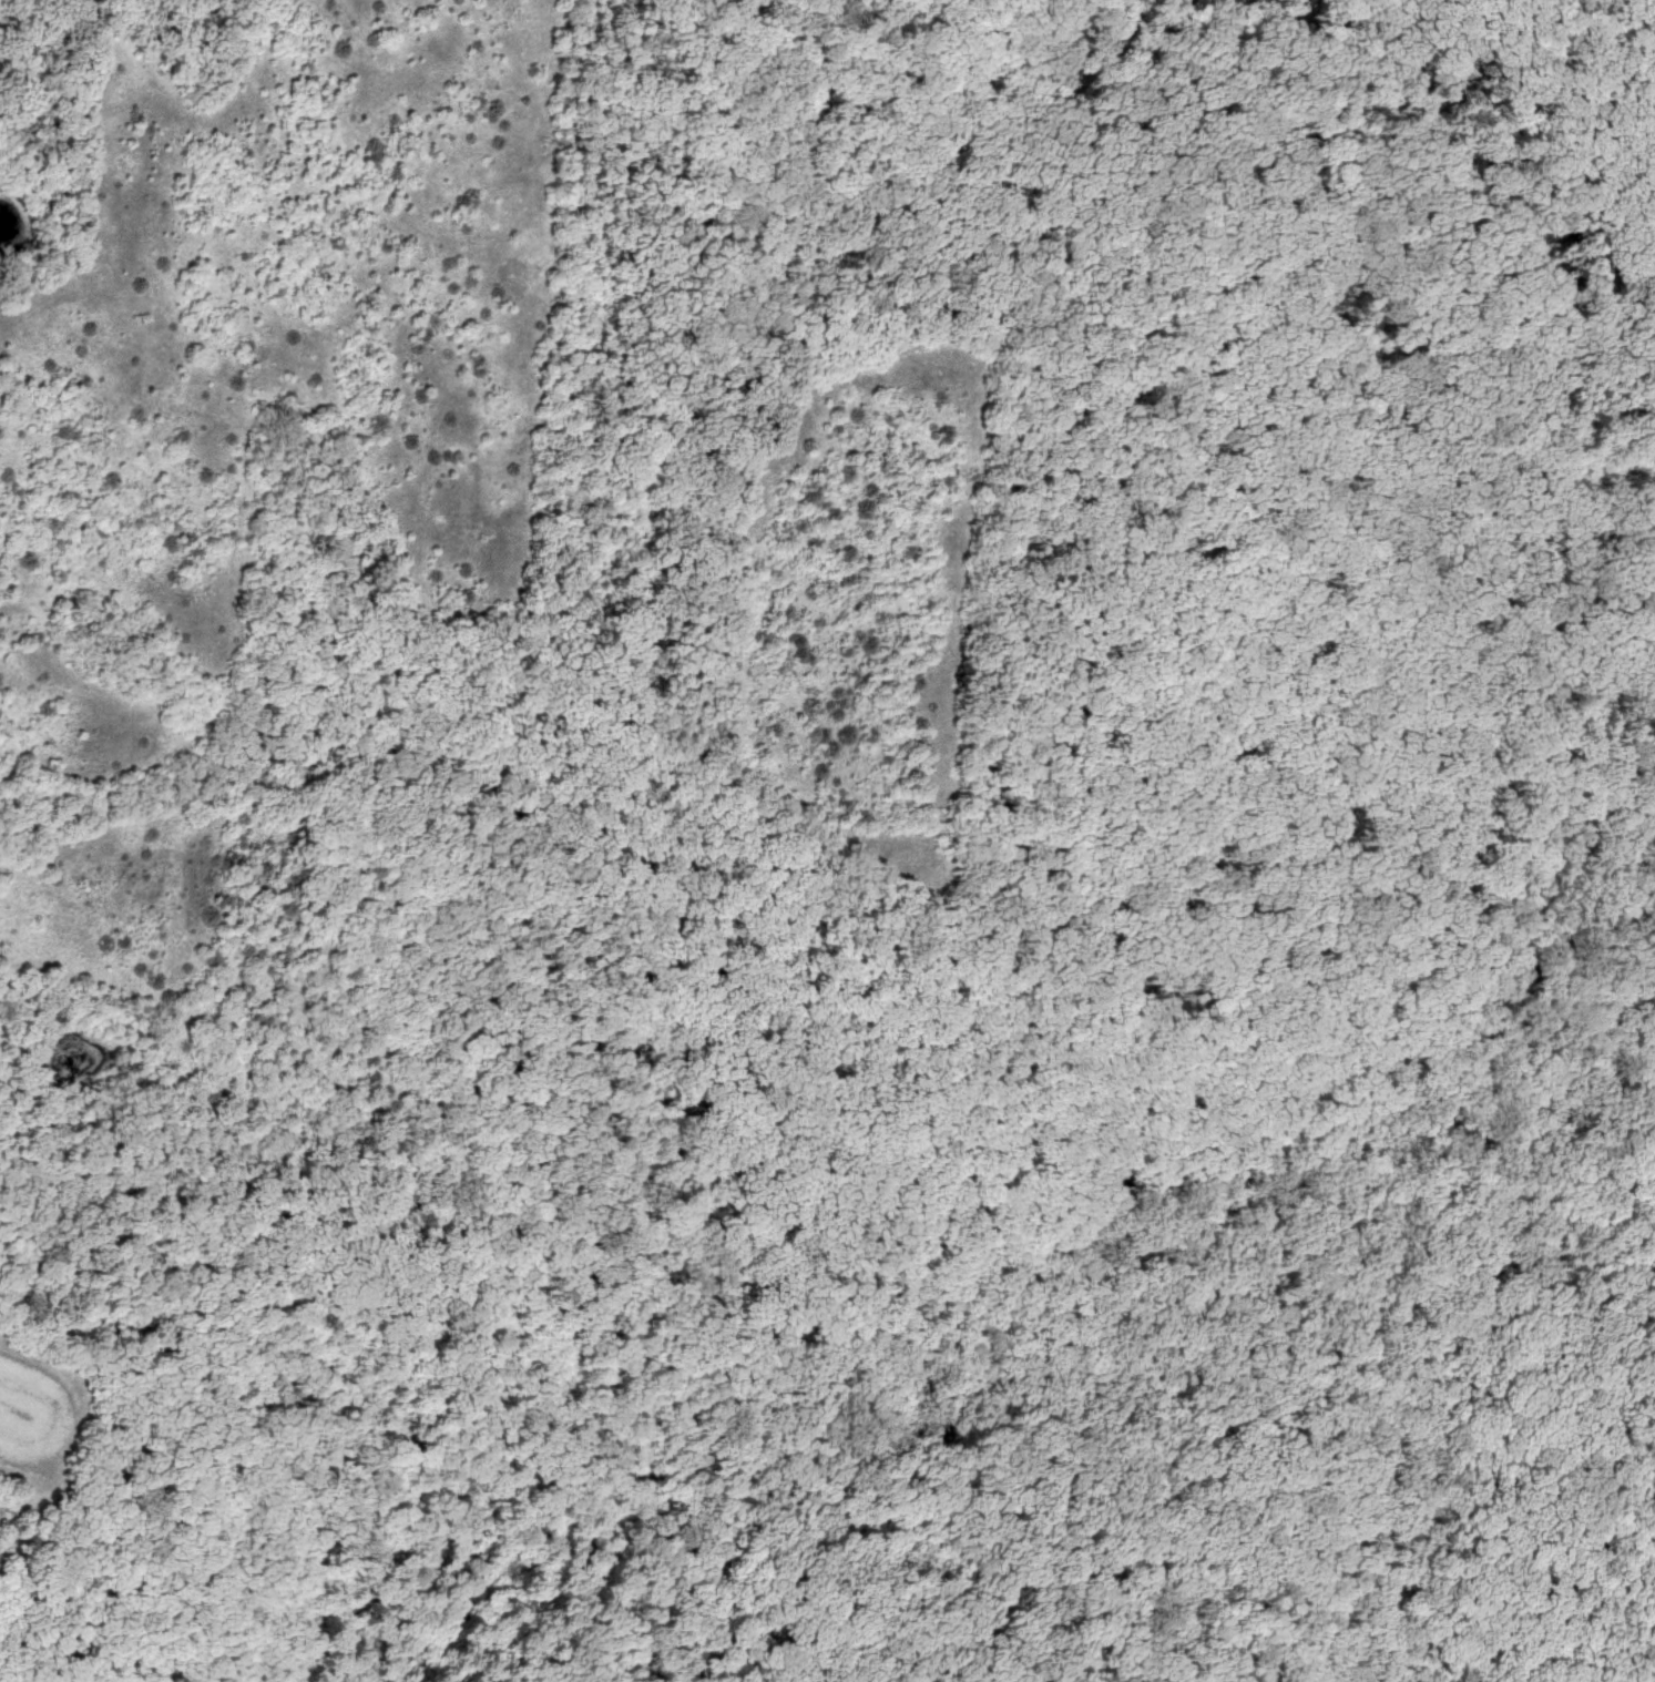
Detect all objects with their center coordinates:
road: (1638, 18)
road: (1562, 243)
park: (827, 840)
road: (1106, 1049)
road: (1369, 1220)
road: (1491, 1325)
road: (824, 1328)

